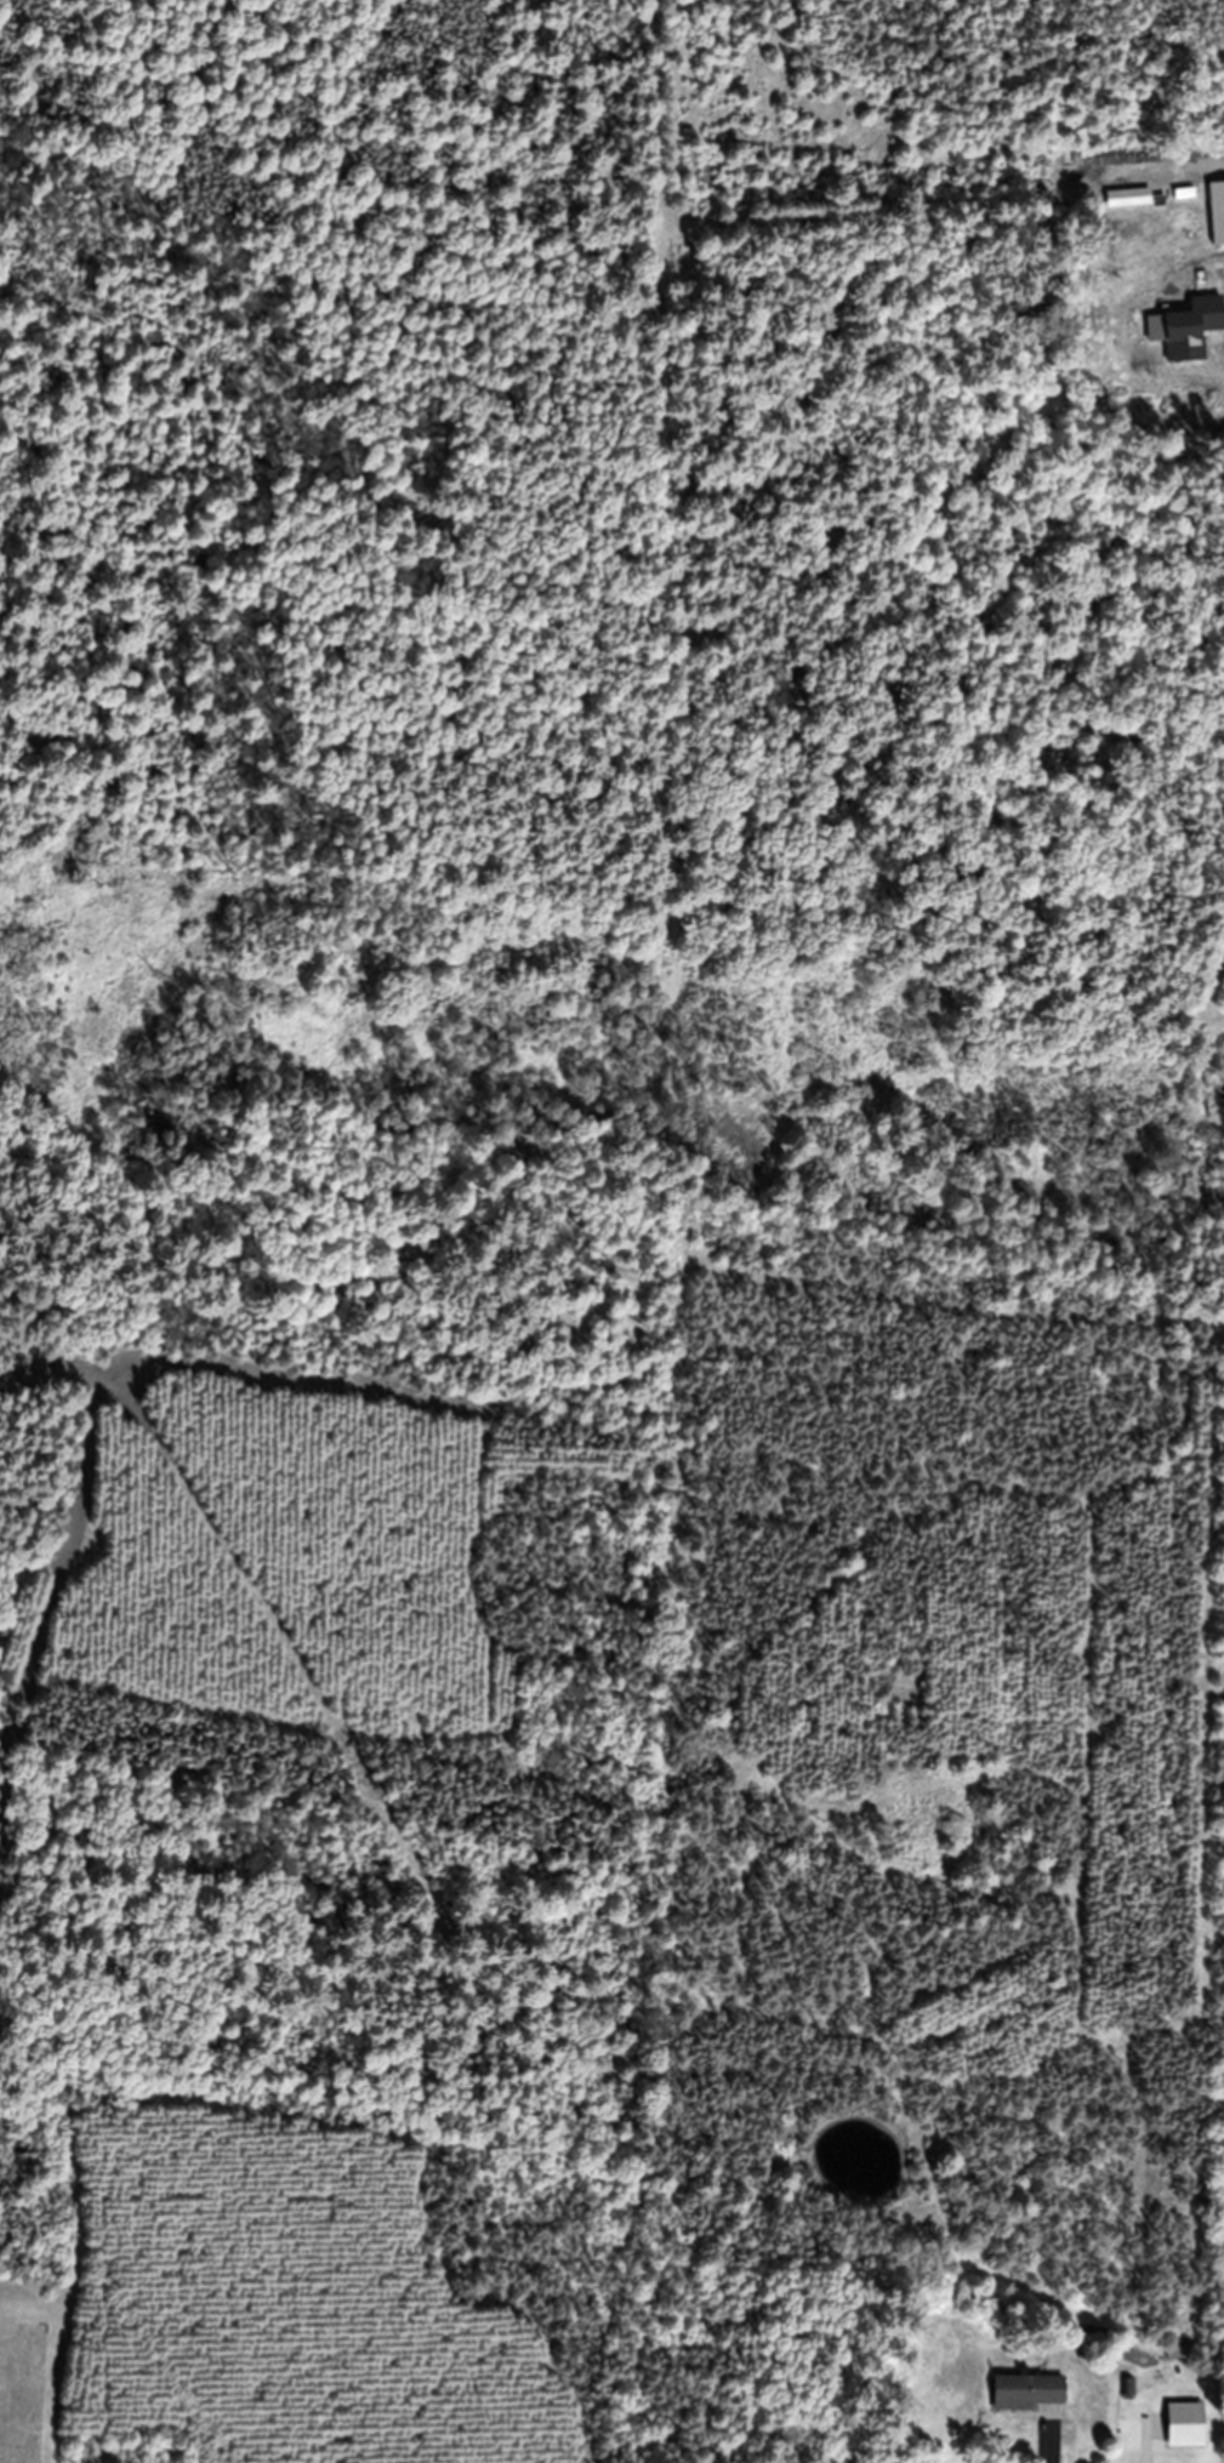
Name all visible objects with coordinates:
building: (1217, 213)
building: (1026, 2391)
road: (1049, 2448)

